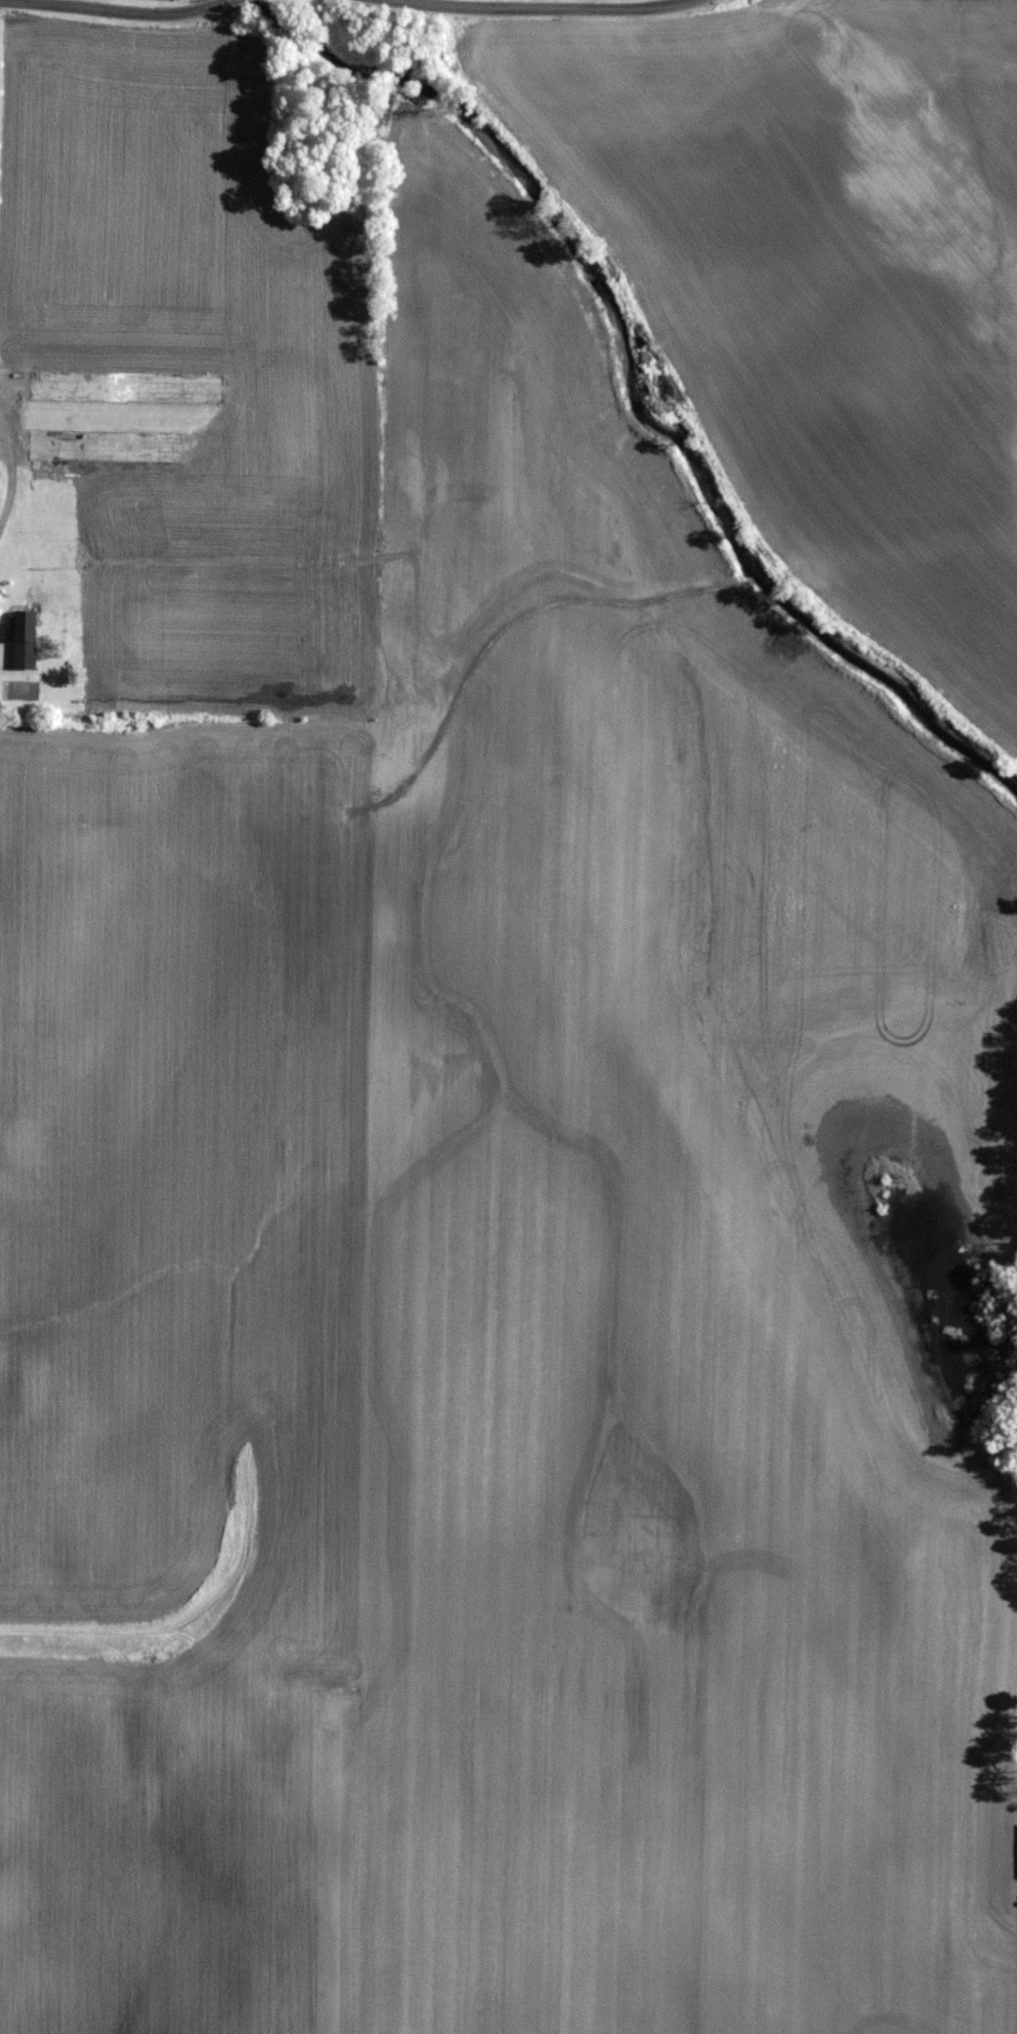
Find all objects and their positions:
road: (538, 10)
road: (115, 13)
road: (2, 453)
road: (9, 478)

